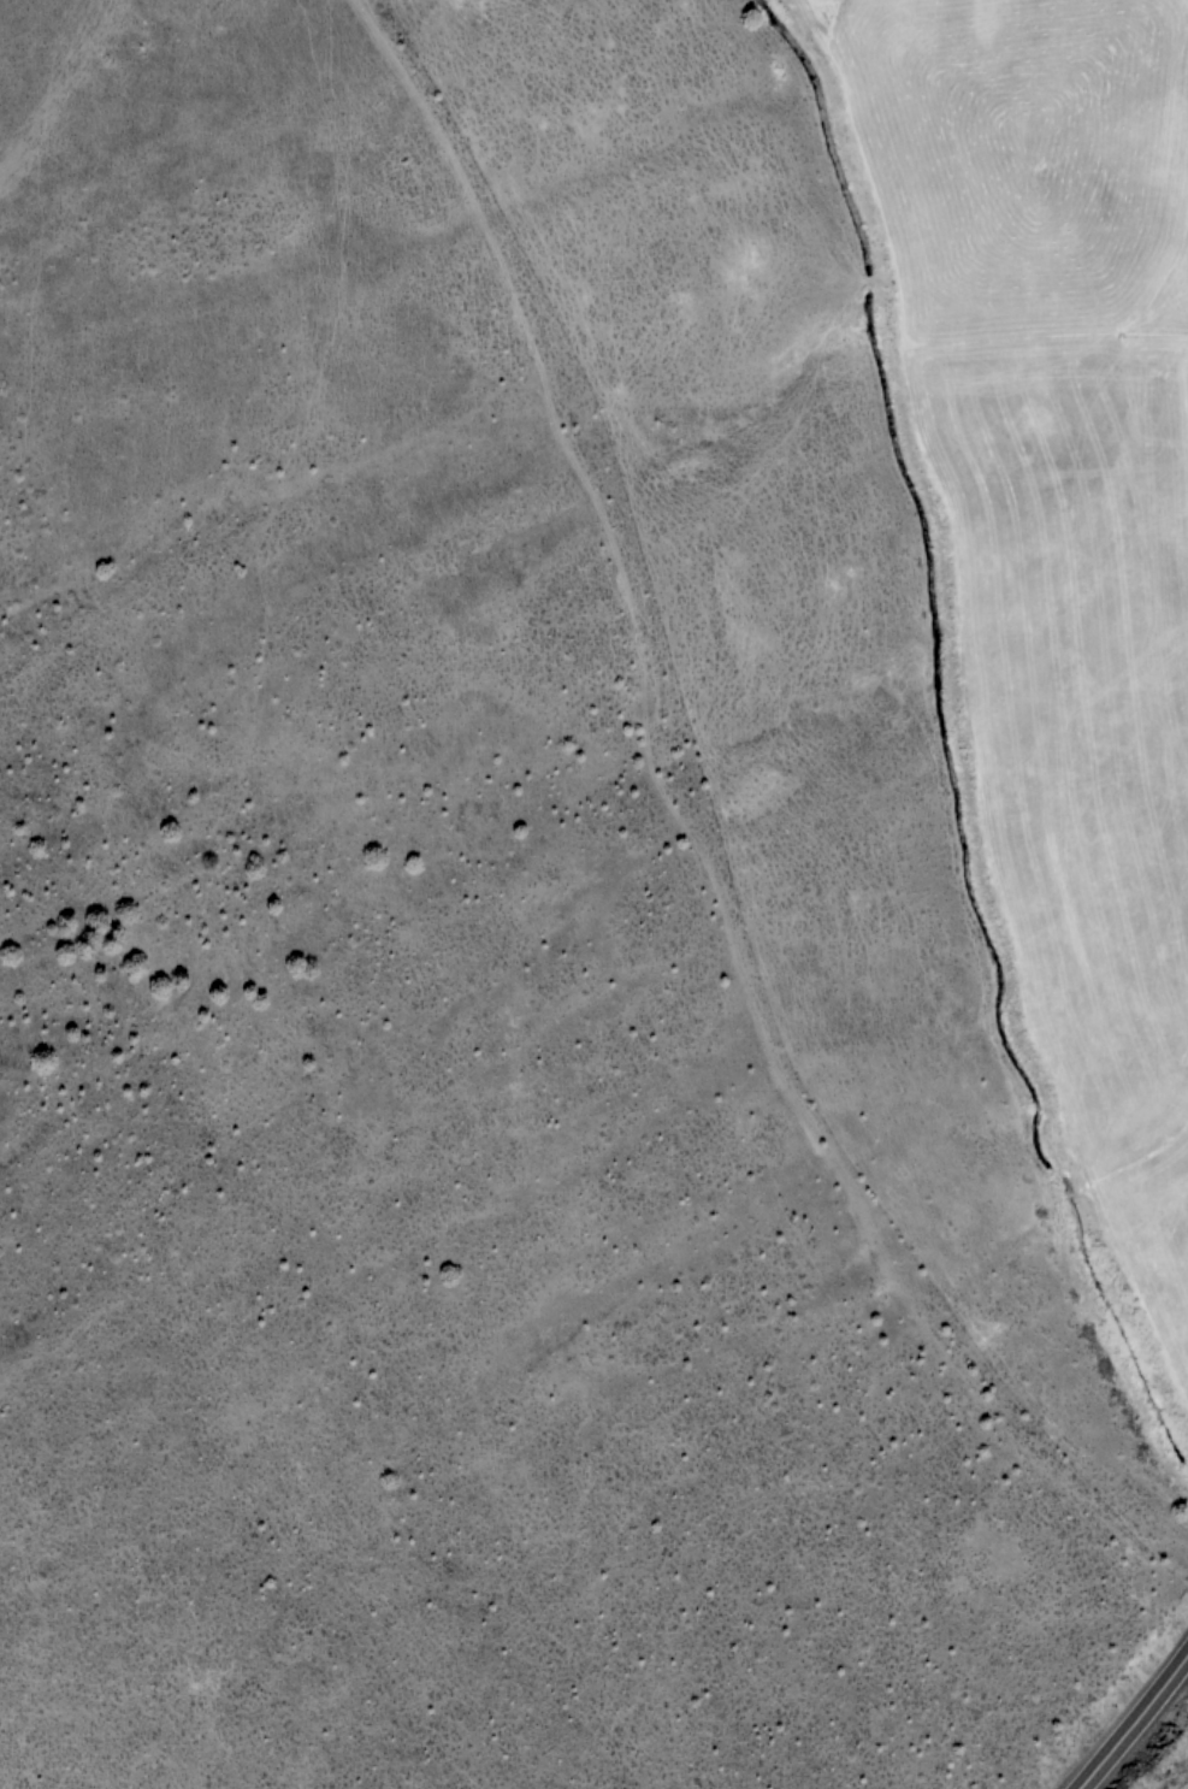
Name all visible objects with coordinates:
road: (1135, 1720)

